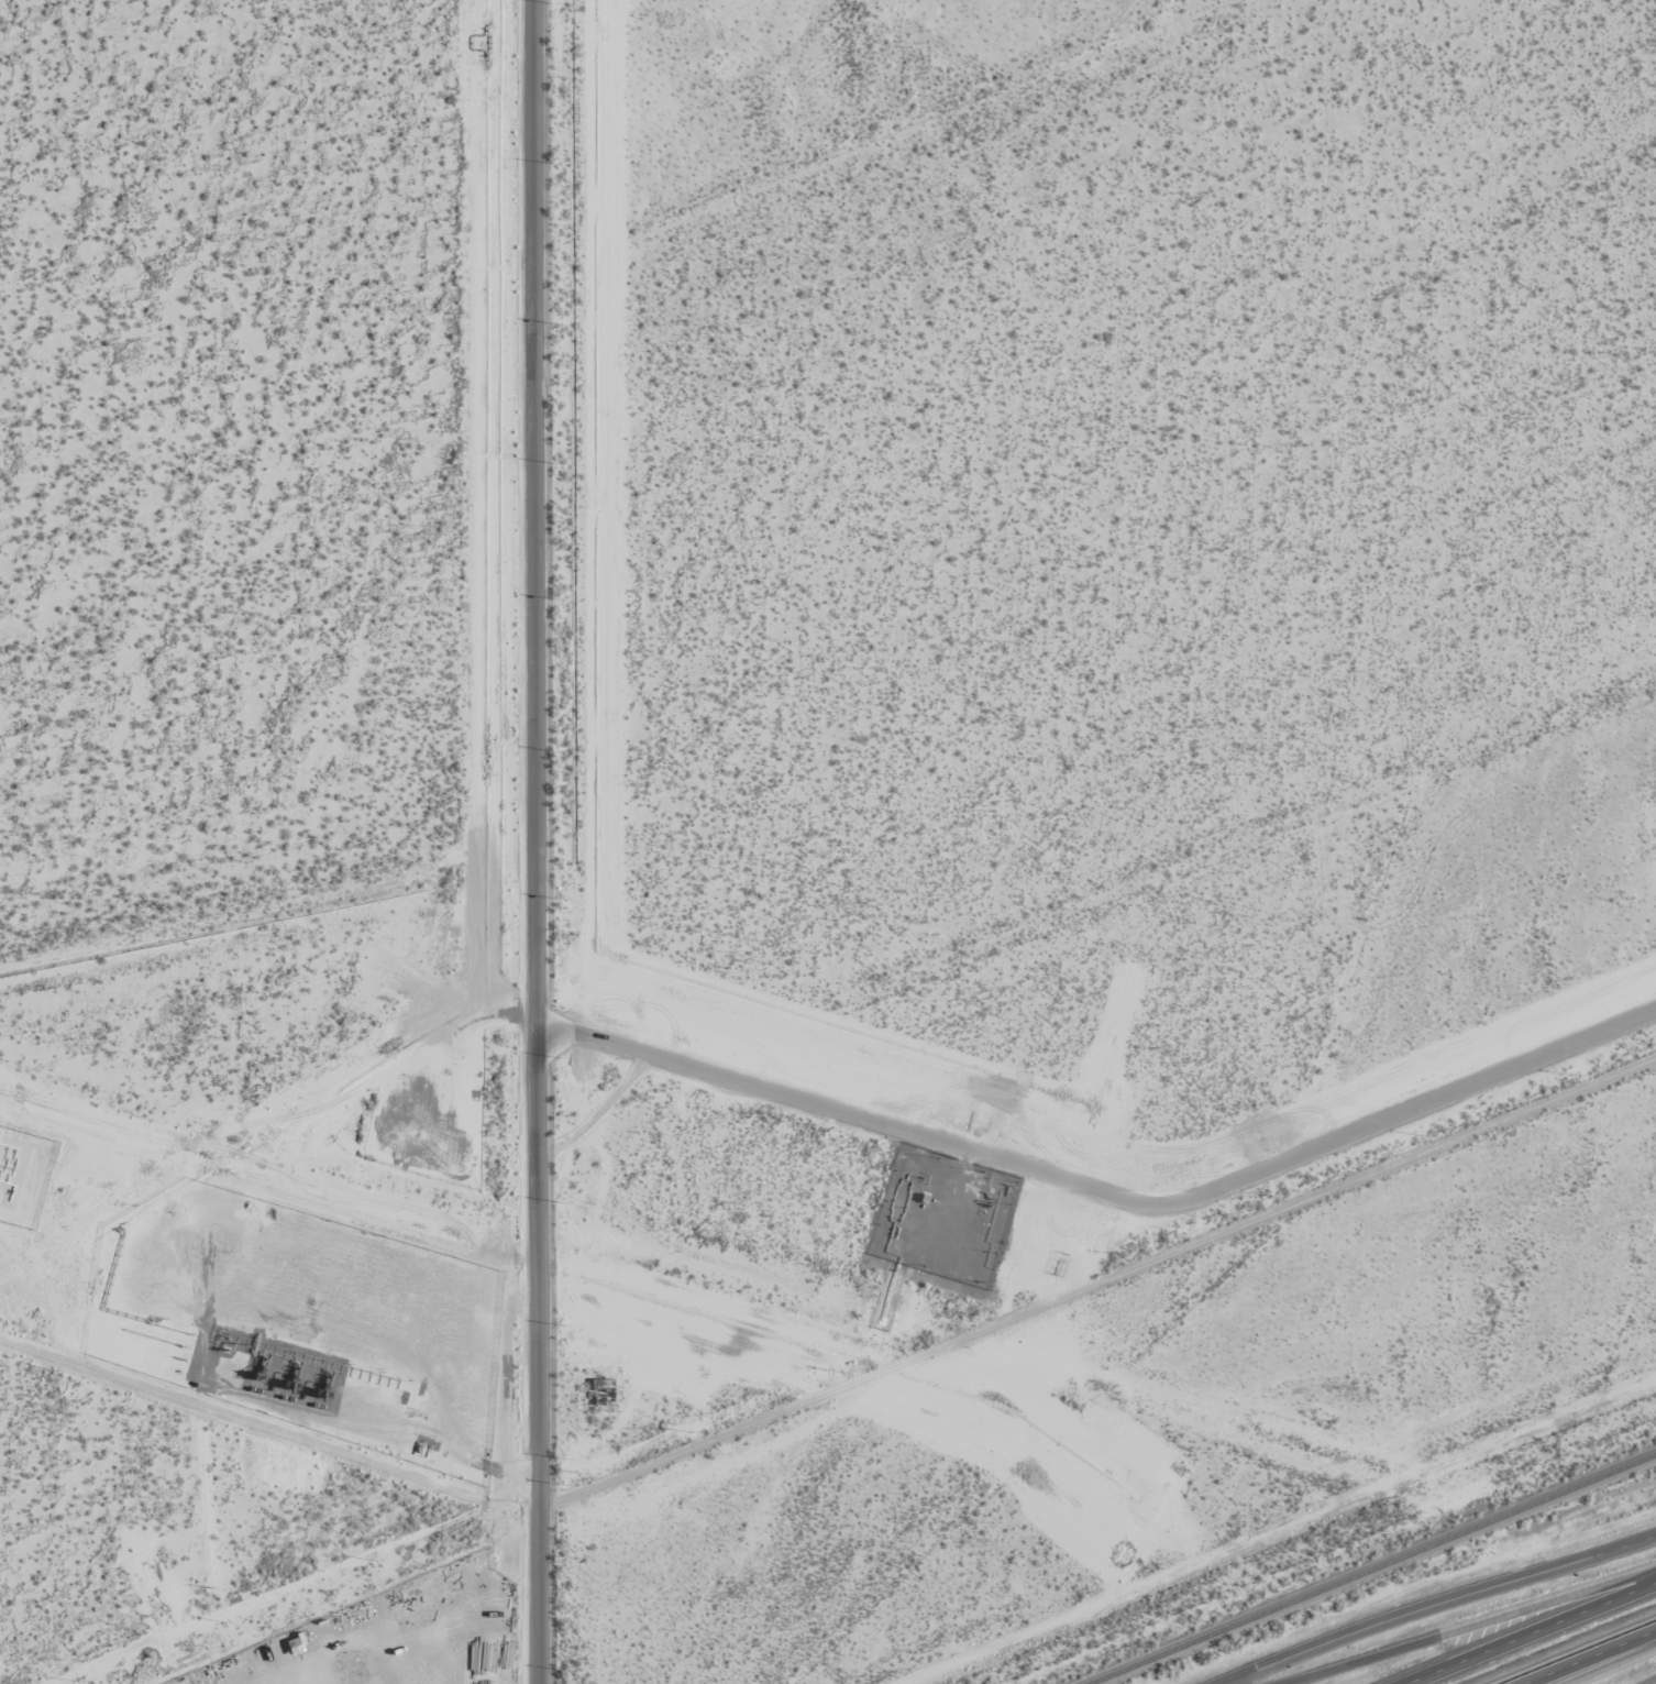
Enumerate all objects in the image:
road: (527, 841)
road: (1101, 1200)
railway: (1377, 1571)
road: (1438, 1604)
road: (426, 1611)
road: (1475, 1626)
road: (1531, 1633)
road: (1590, 1657)
road: (1611, 1664)

